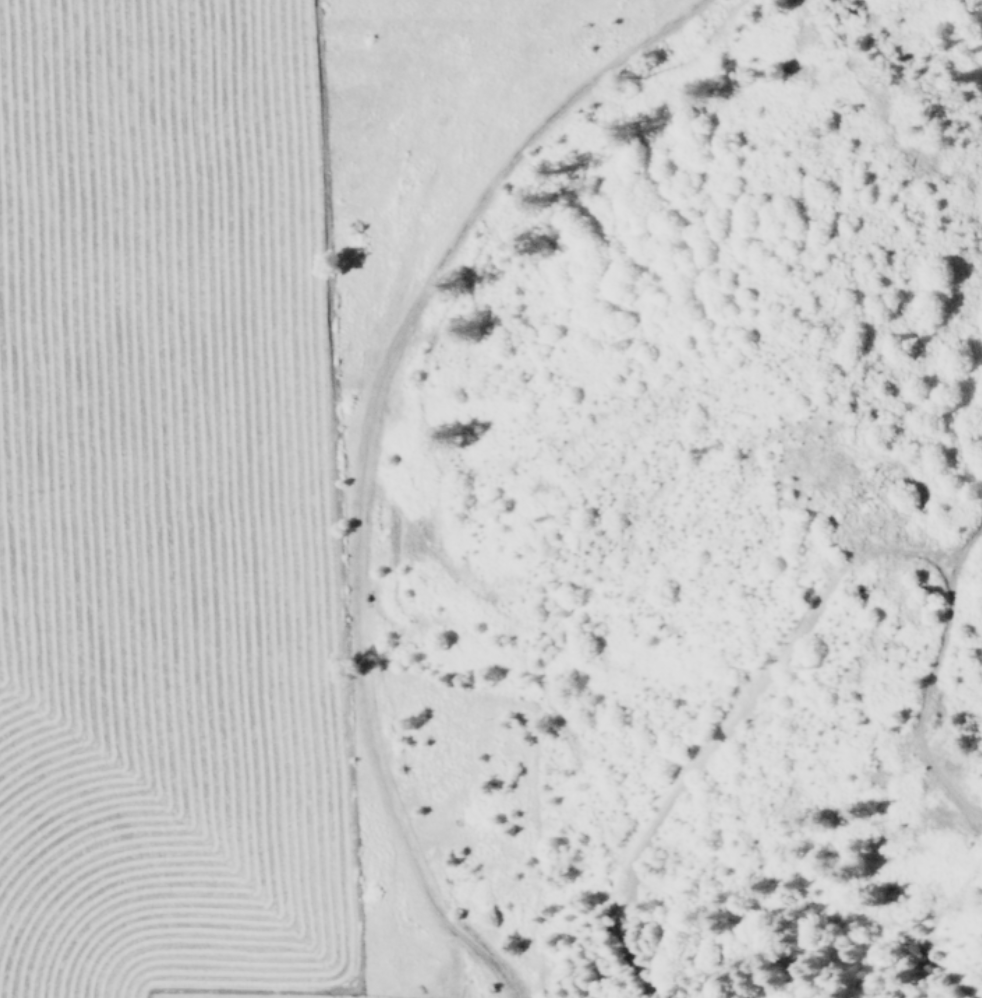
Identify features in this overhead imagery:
crop: (165, 512)

